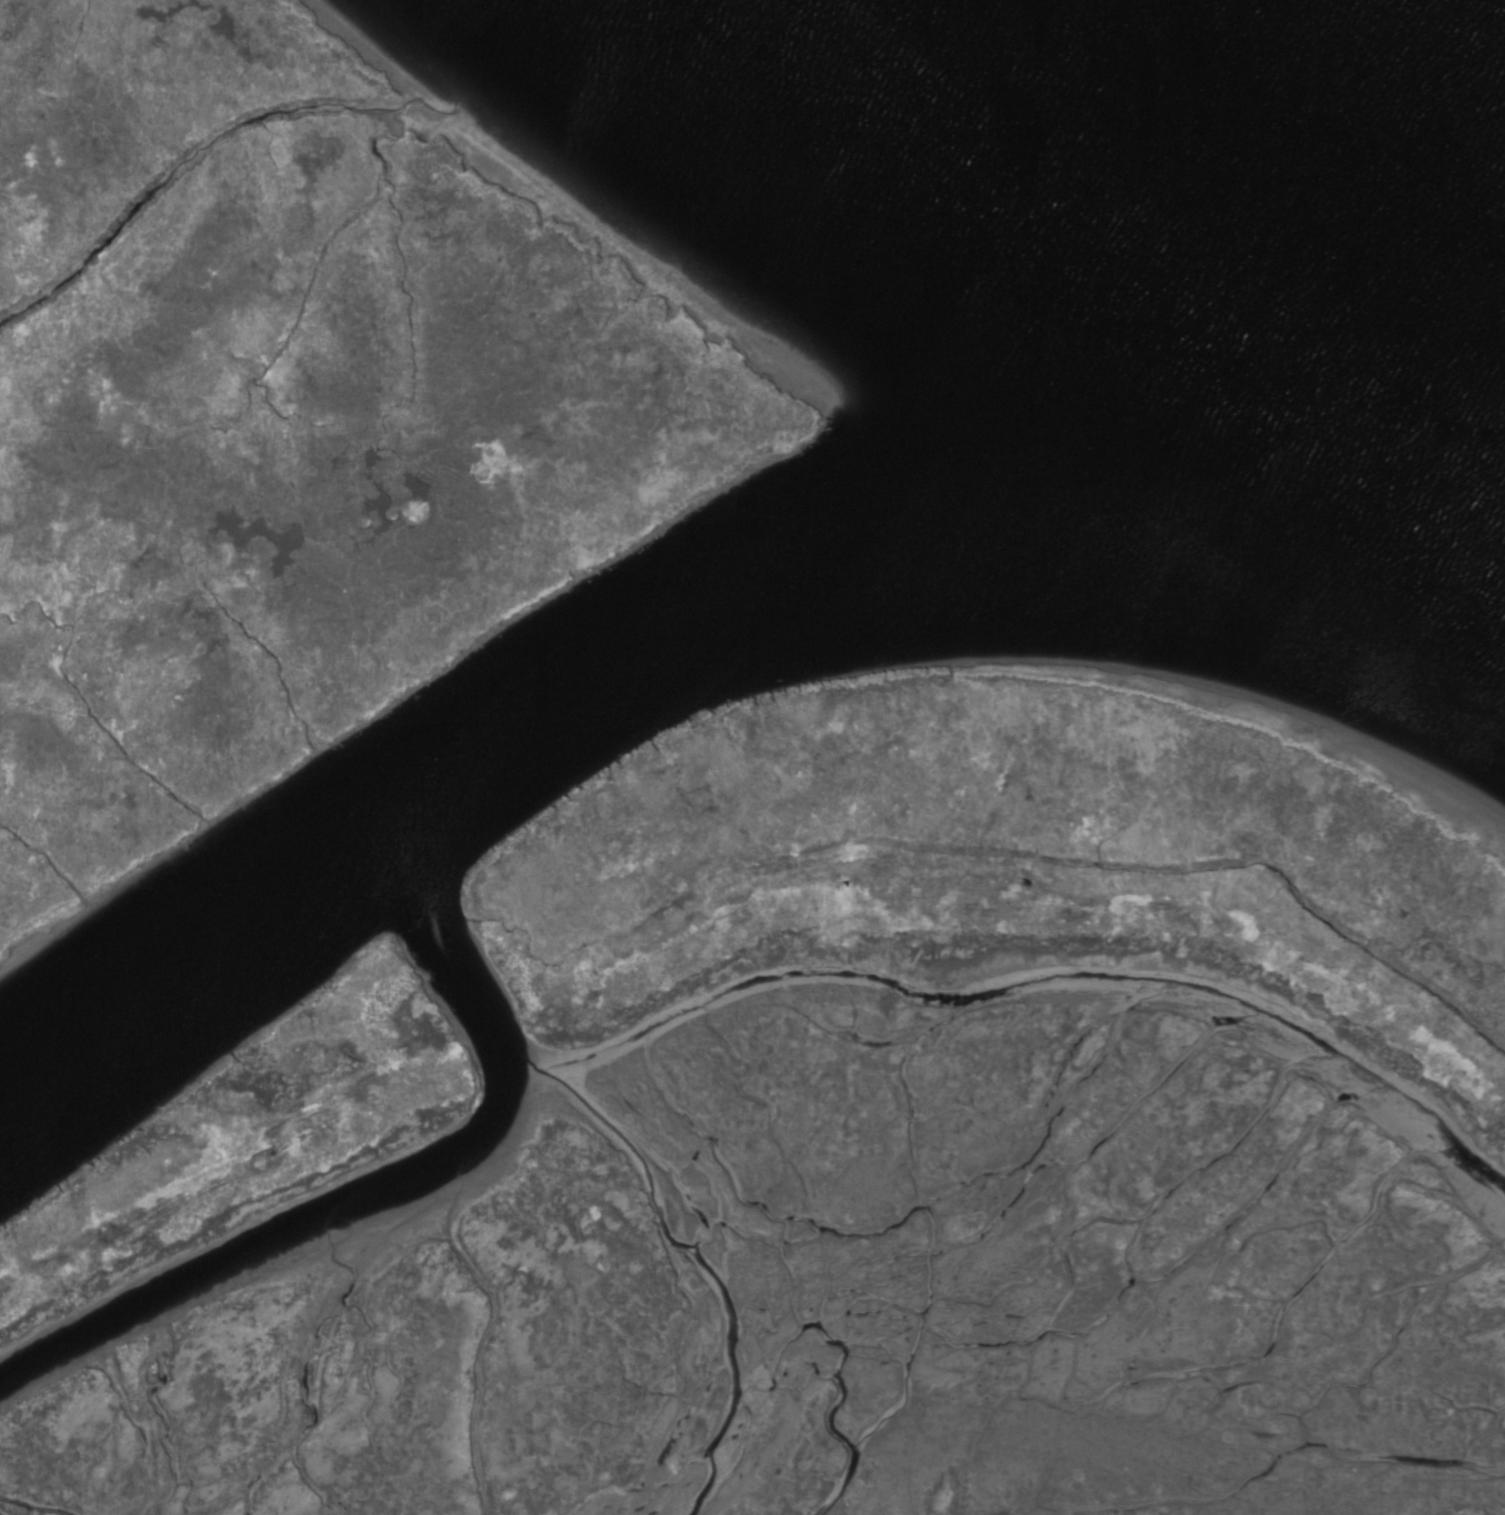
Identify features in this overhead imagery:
river: (1279, 220)

